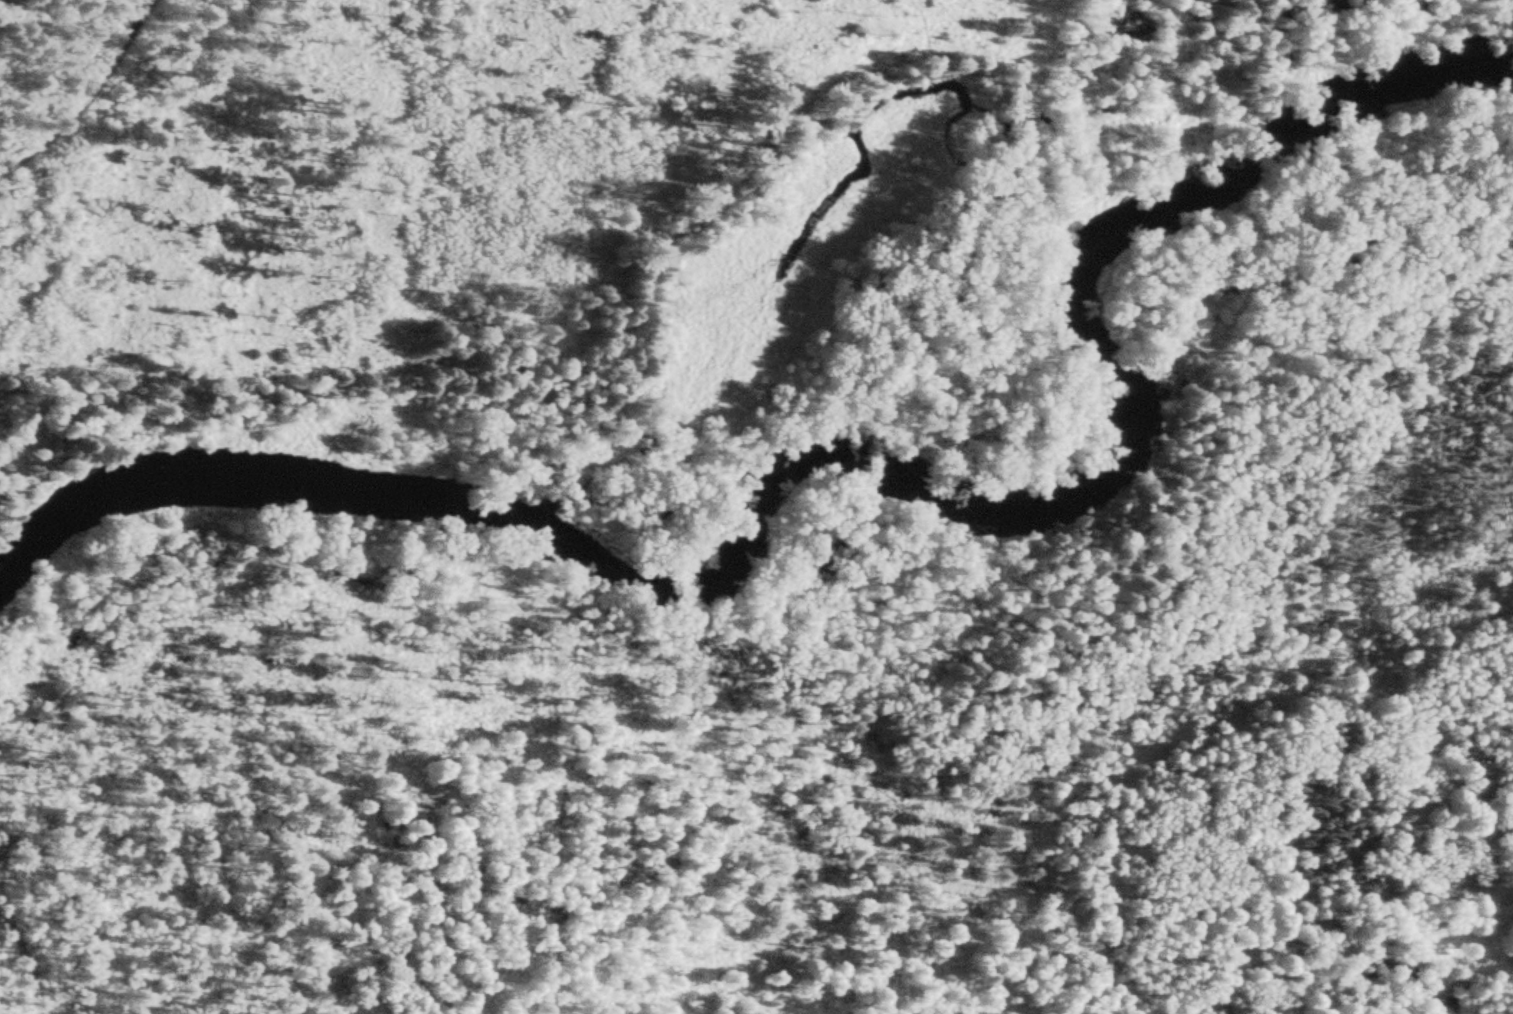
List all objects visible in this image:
river: (866, 462)

